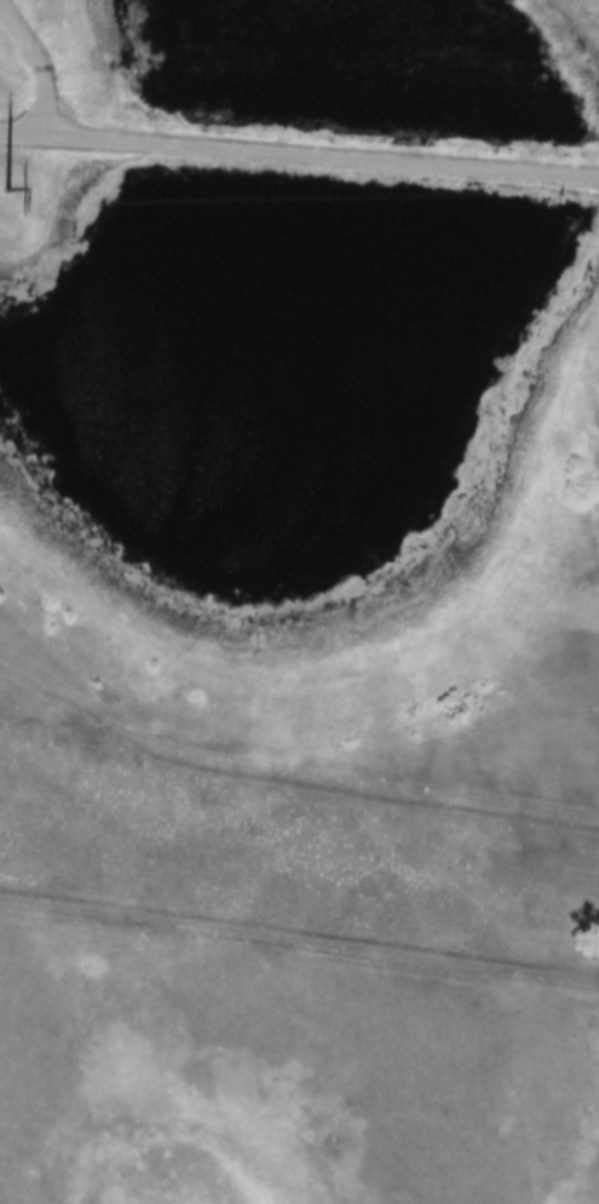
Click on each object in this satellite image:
road: (42, 64)
road: (299, 154)
power tower: (12, 183)

